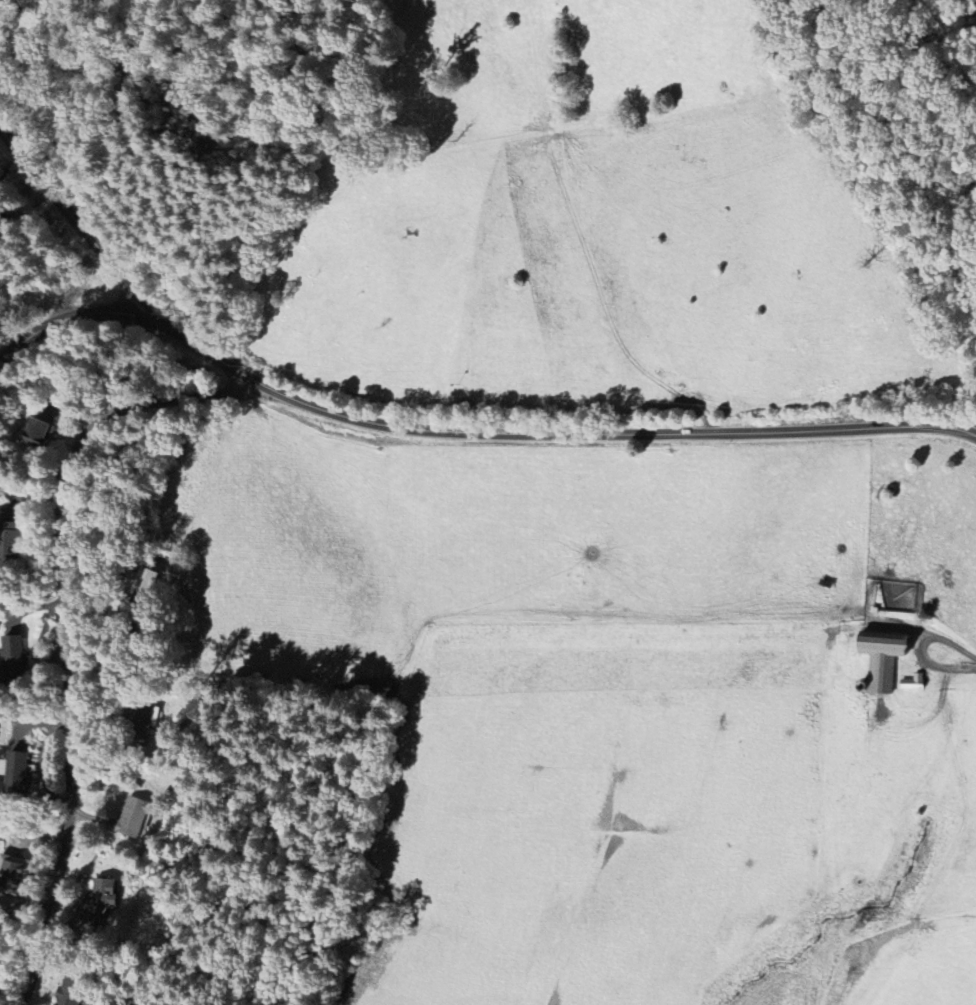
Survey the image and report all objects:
road: (881, 49)
park: (731, 95)
crop: (591, 227)
road: (67, 318)
road: (430, 432)
building: (39, 433)
crop: (927, 524)
building: (9, 540)
crop: (486, 542)
building: (139, 581)
road: (65, 623)
building: (13, 651)
road: (952, 655)
building: (880, 658)
building: (911, 682)
building: (136, 725)
building: (17, 774)
crop: (903, 790)
building: (130, 817)
crop: (613, 820)
building: (13, 874)
building: (98, 900)
crop: (922, 967)
building: (72, 989)

